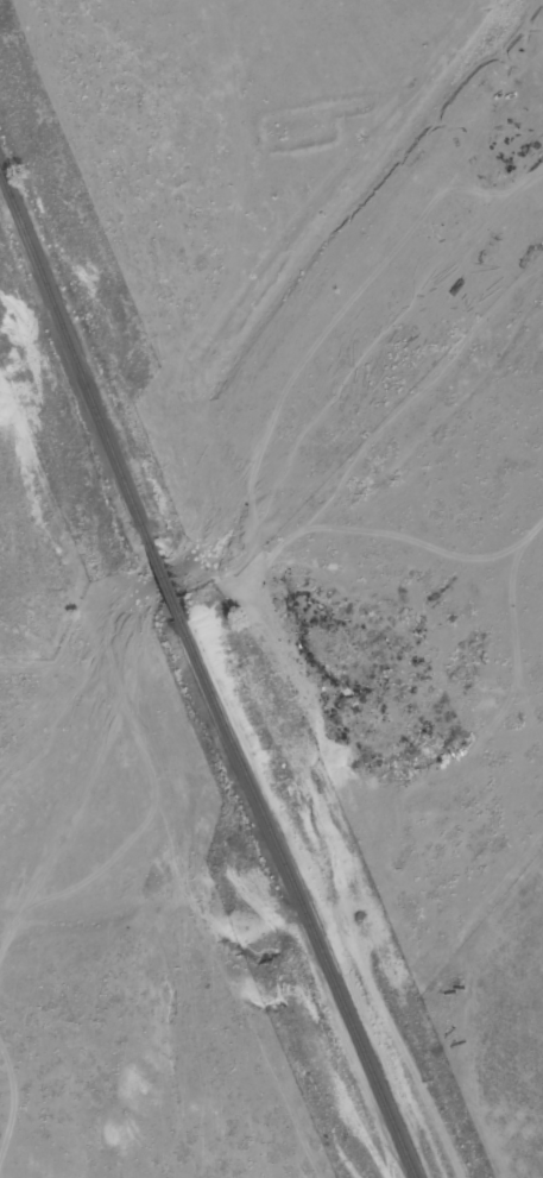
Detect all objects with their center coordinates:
railway: (74, 358)
railway: (165, 585)
railway: (298, 900)

